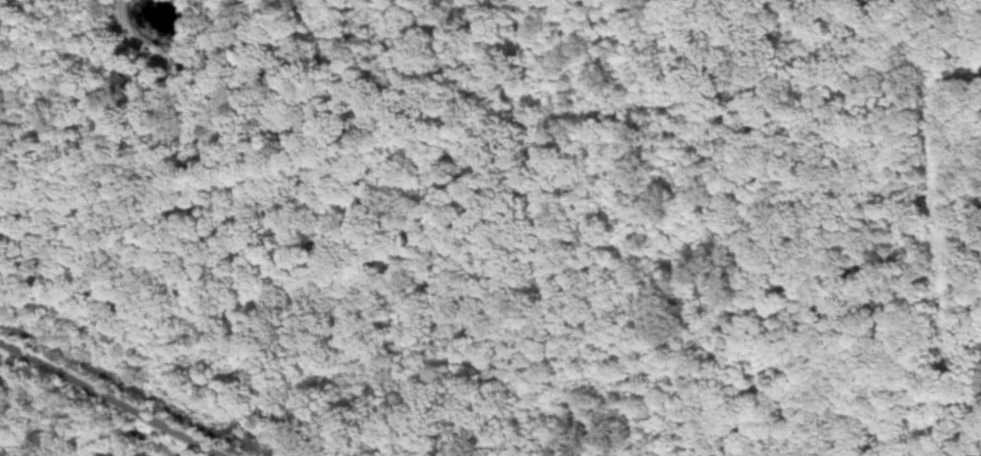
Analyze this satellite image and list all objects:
road: (111, 398)

